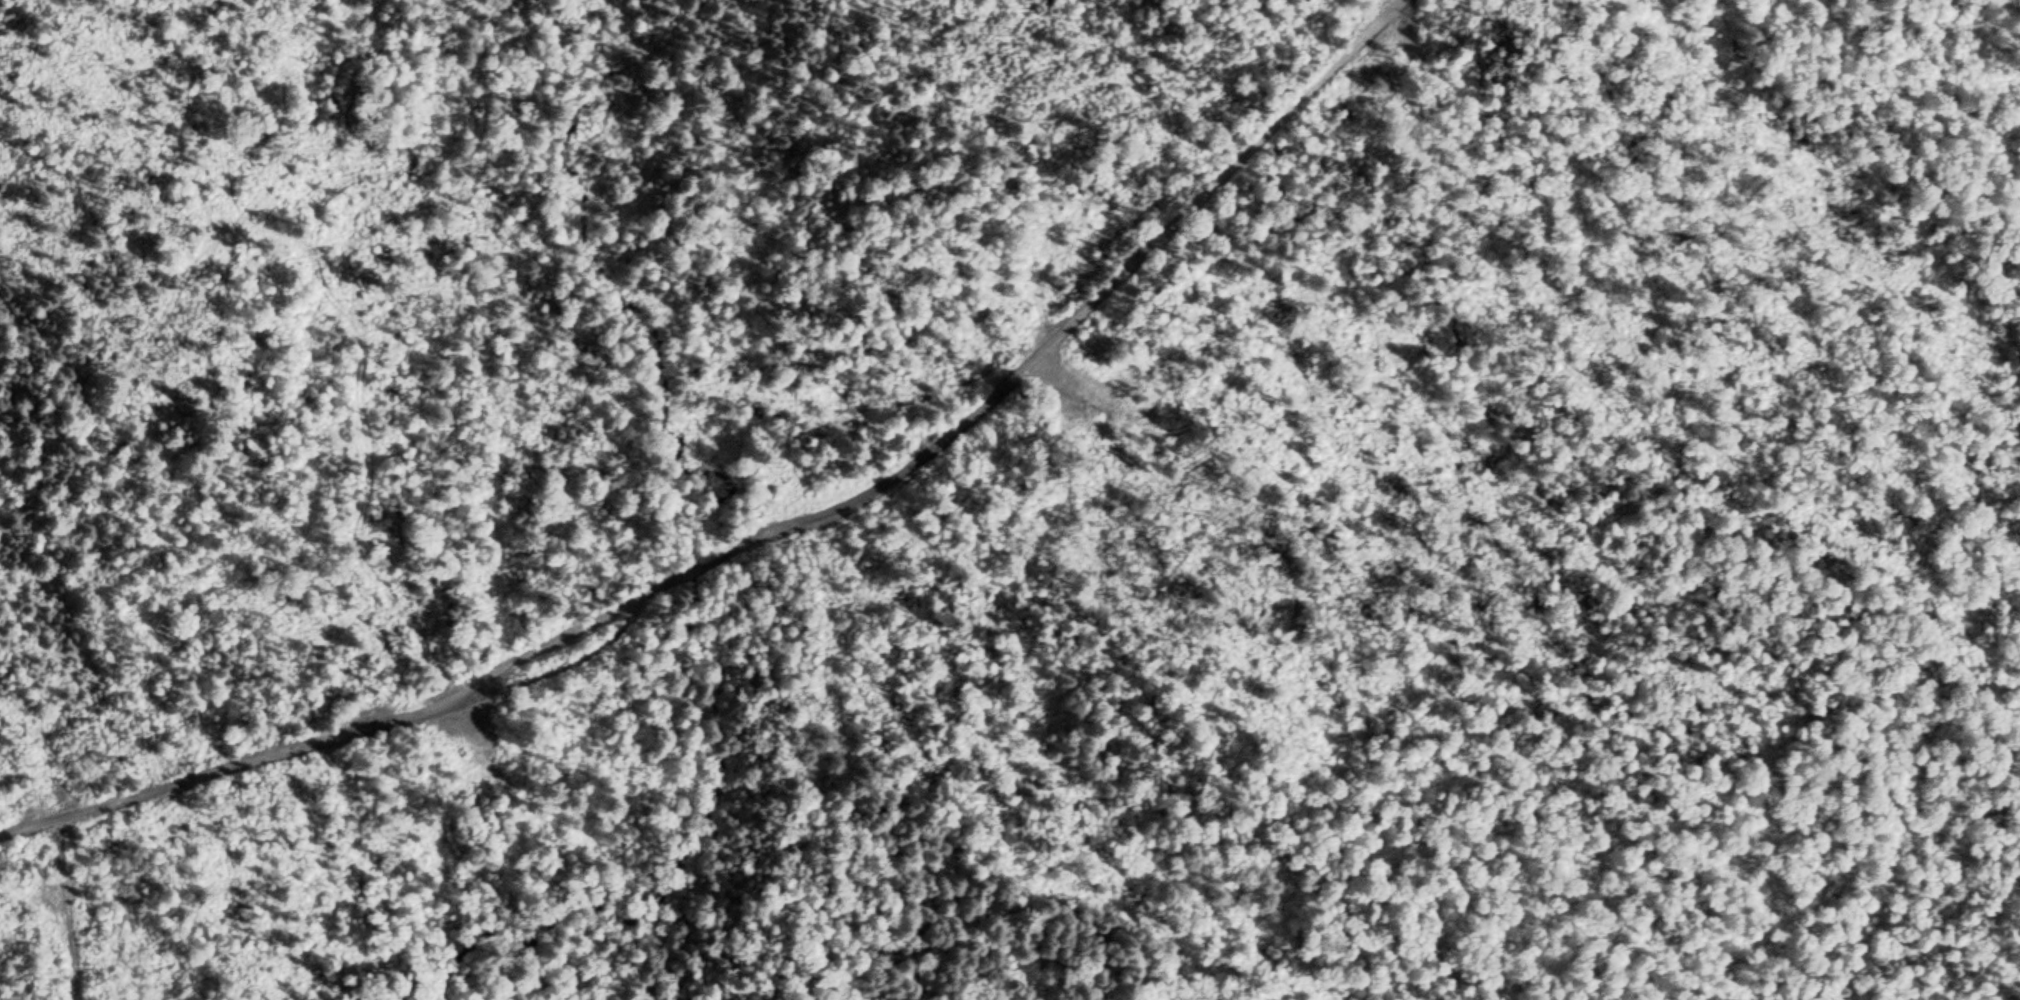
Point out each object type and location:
road: (782, 540)

